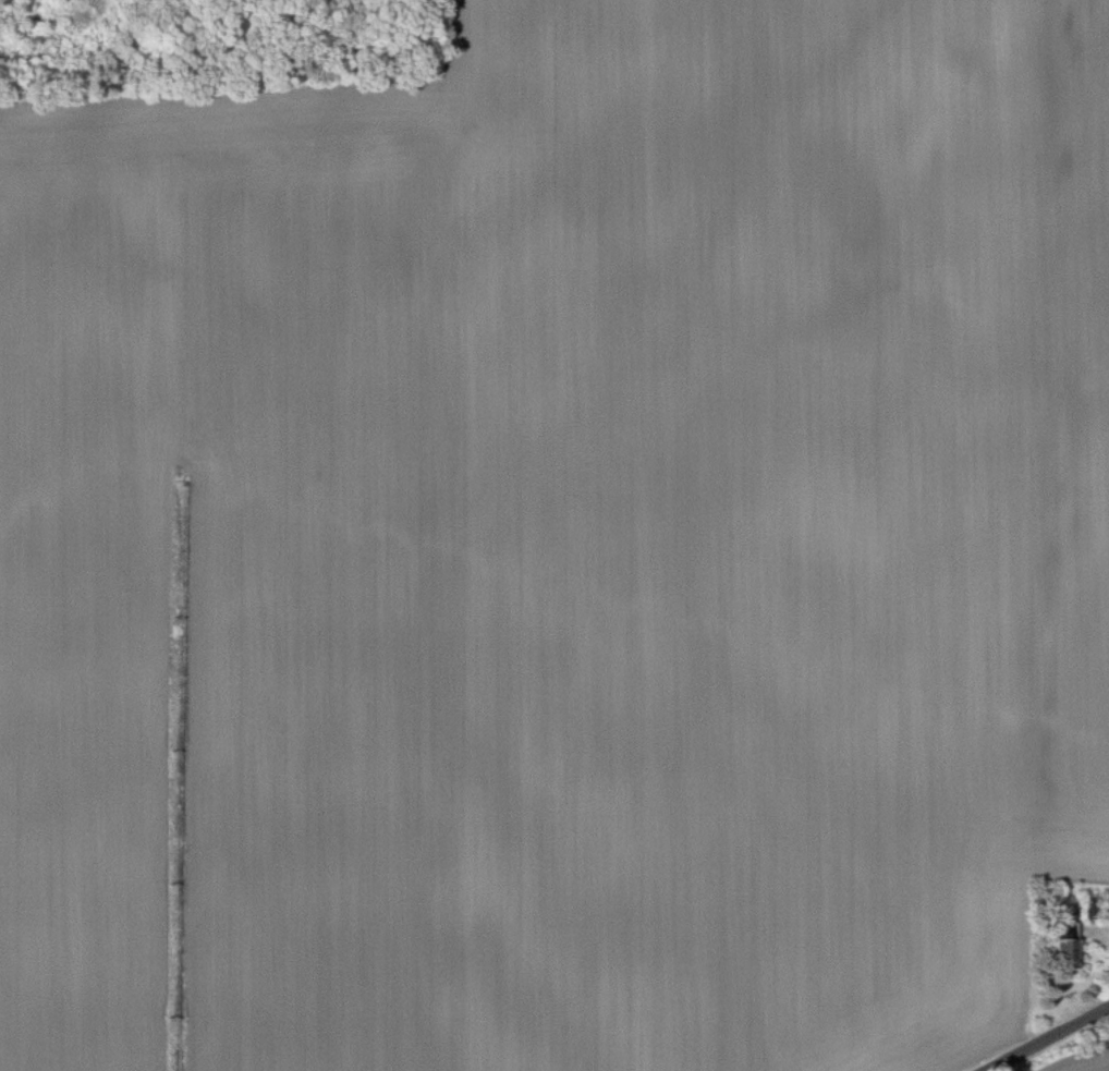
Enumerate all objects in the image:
building: (1094, 909)
building: (1069, 945)
road: (1048, 1039)

